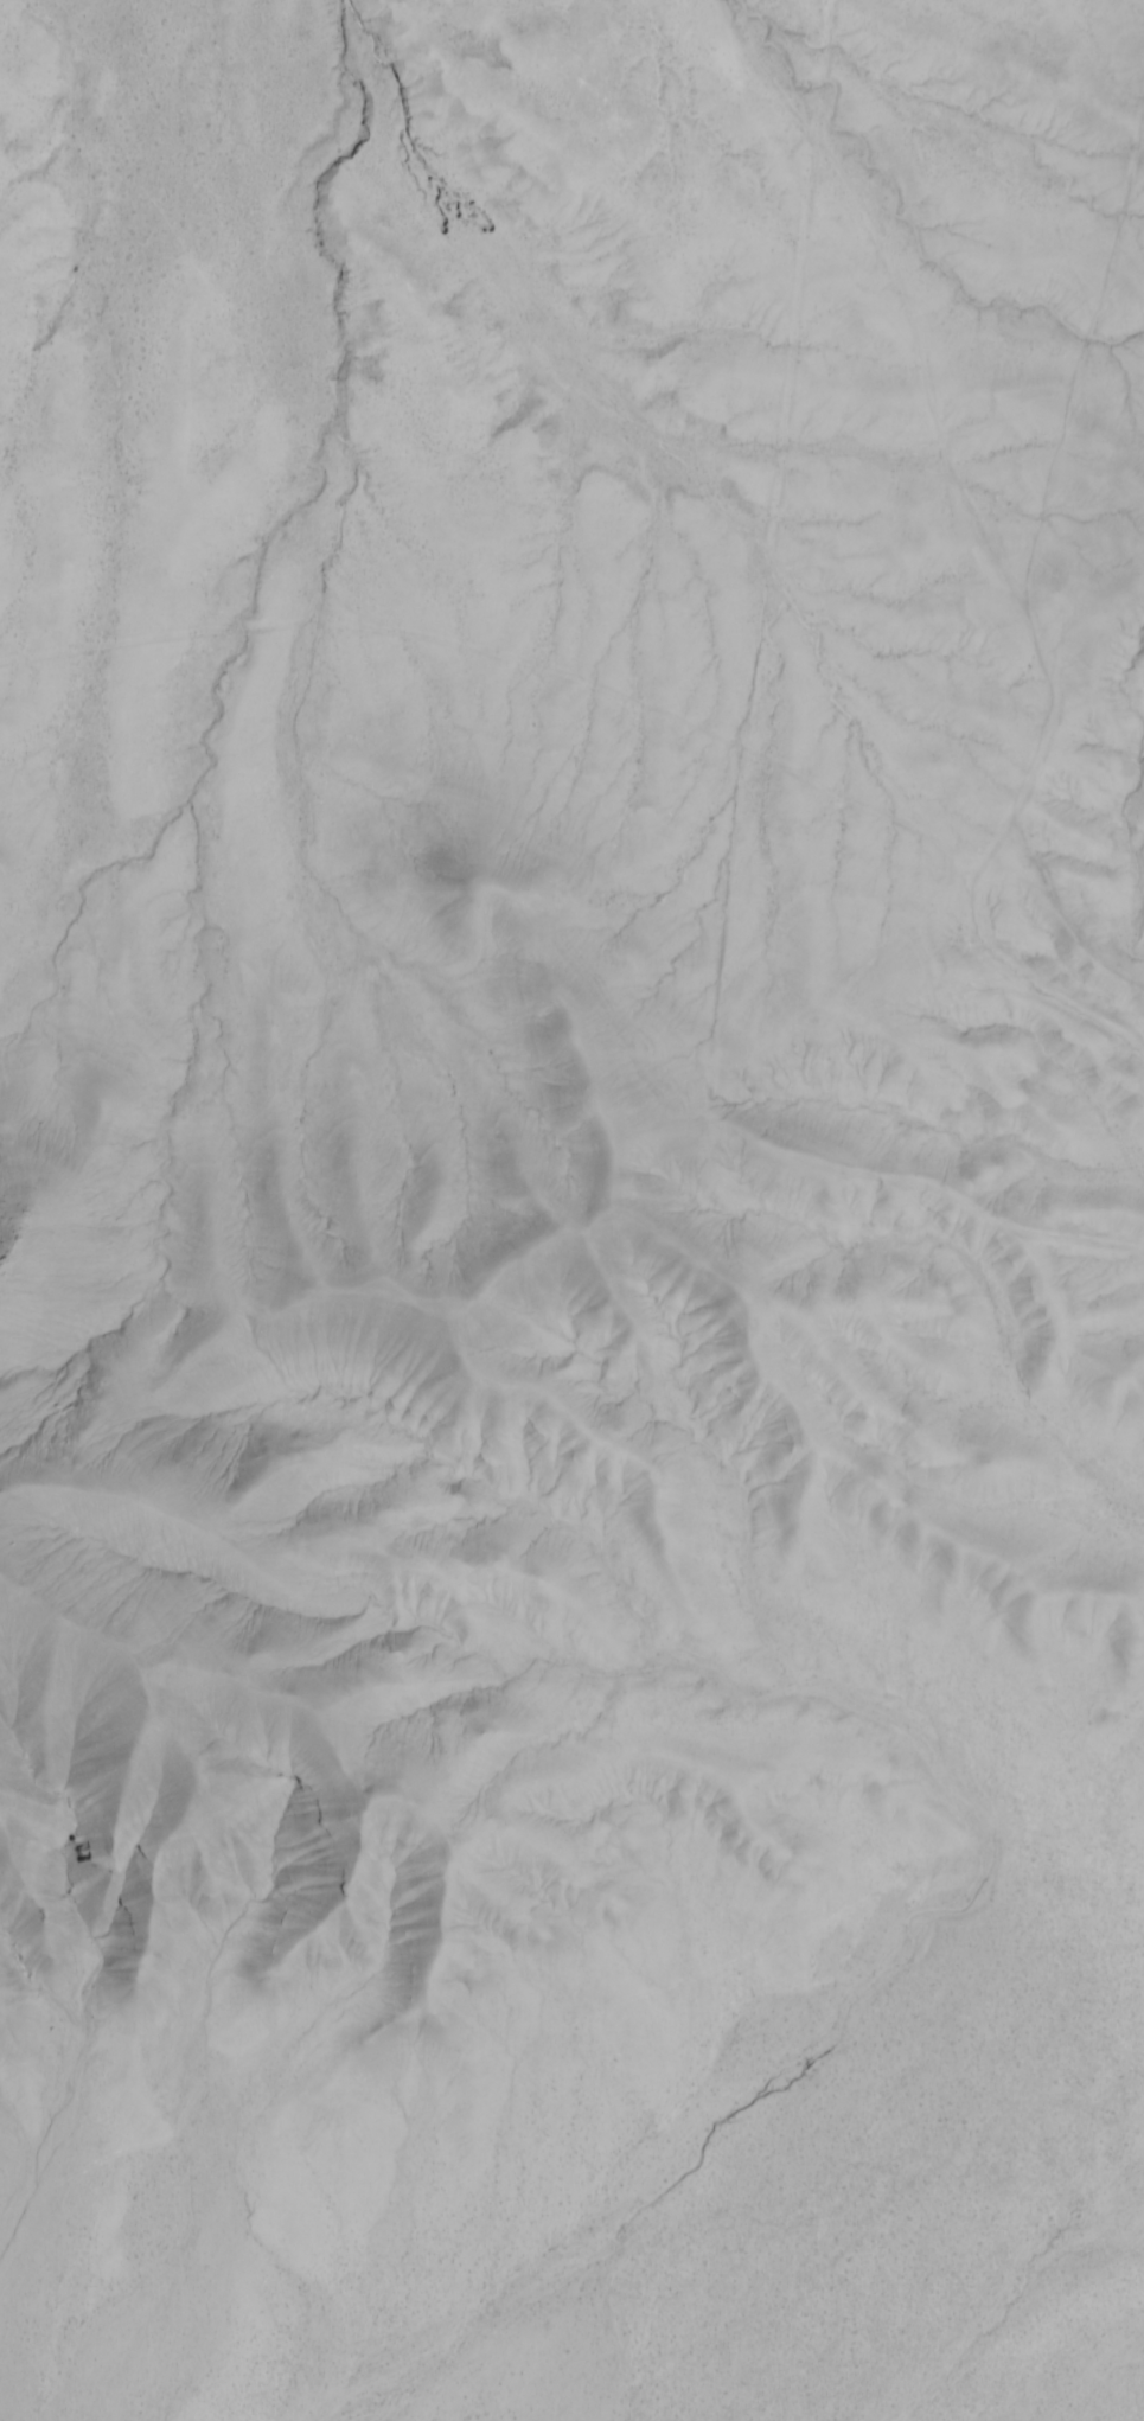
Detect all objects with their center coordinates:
road: (1021, 539)

